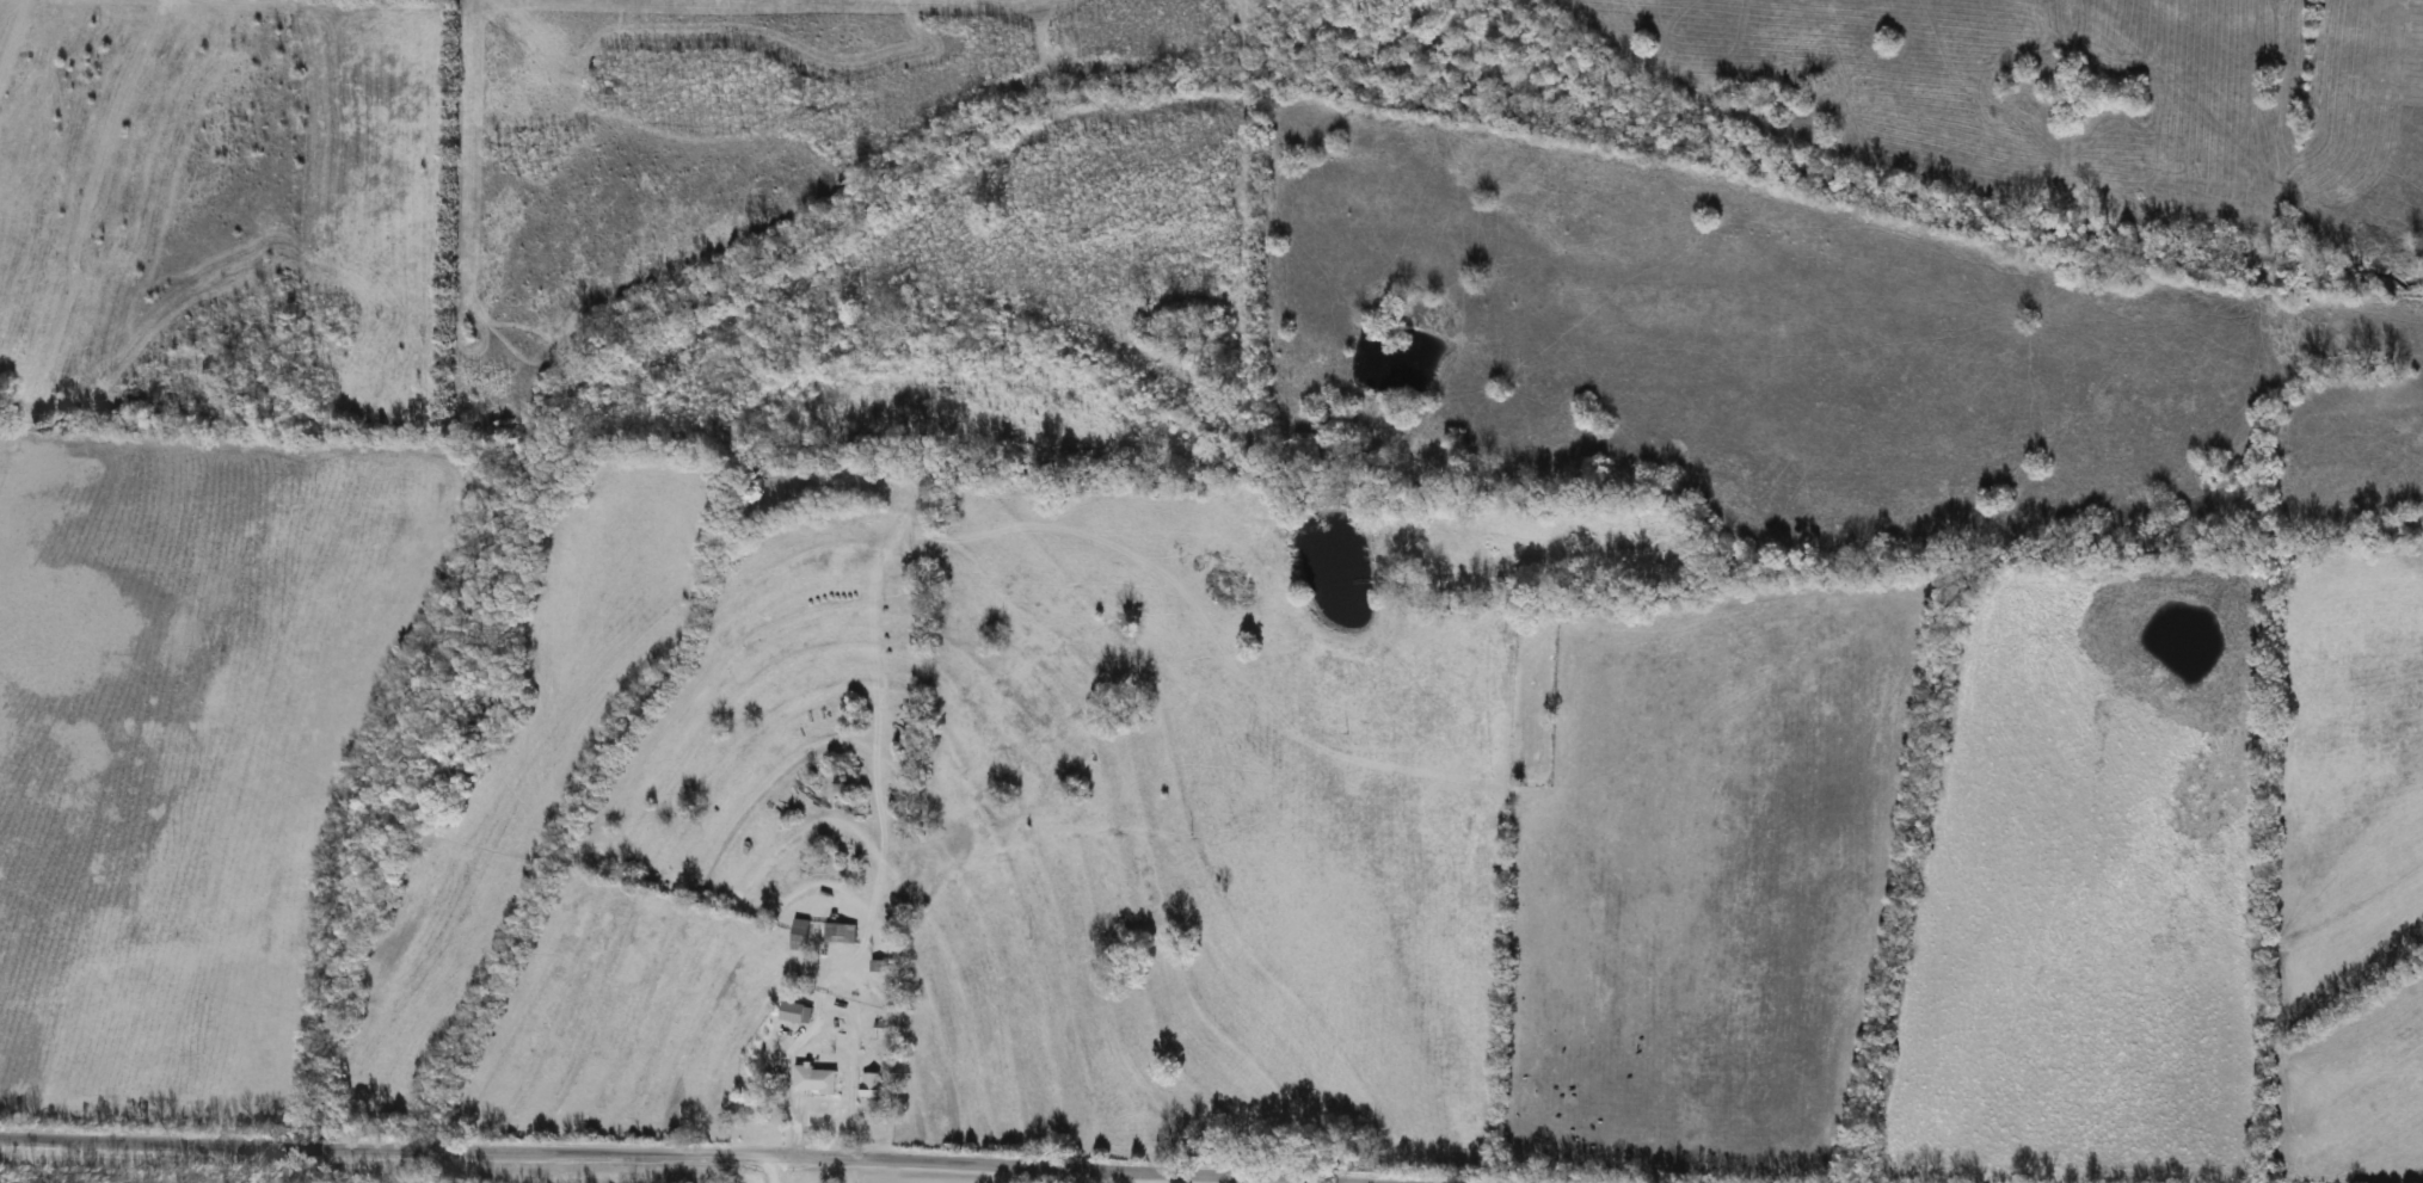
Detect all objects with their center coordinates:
building: (838, 932)
building: (799, 935)
building: (877, 966)
building: (797, 1012)
building: (814, 1079)
building: (873, 1086)
road: (697, 1153)
road: (771, 1169)
road: (1246, 1179)

